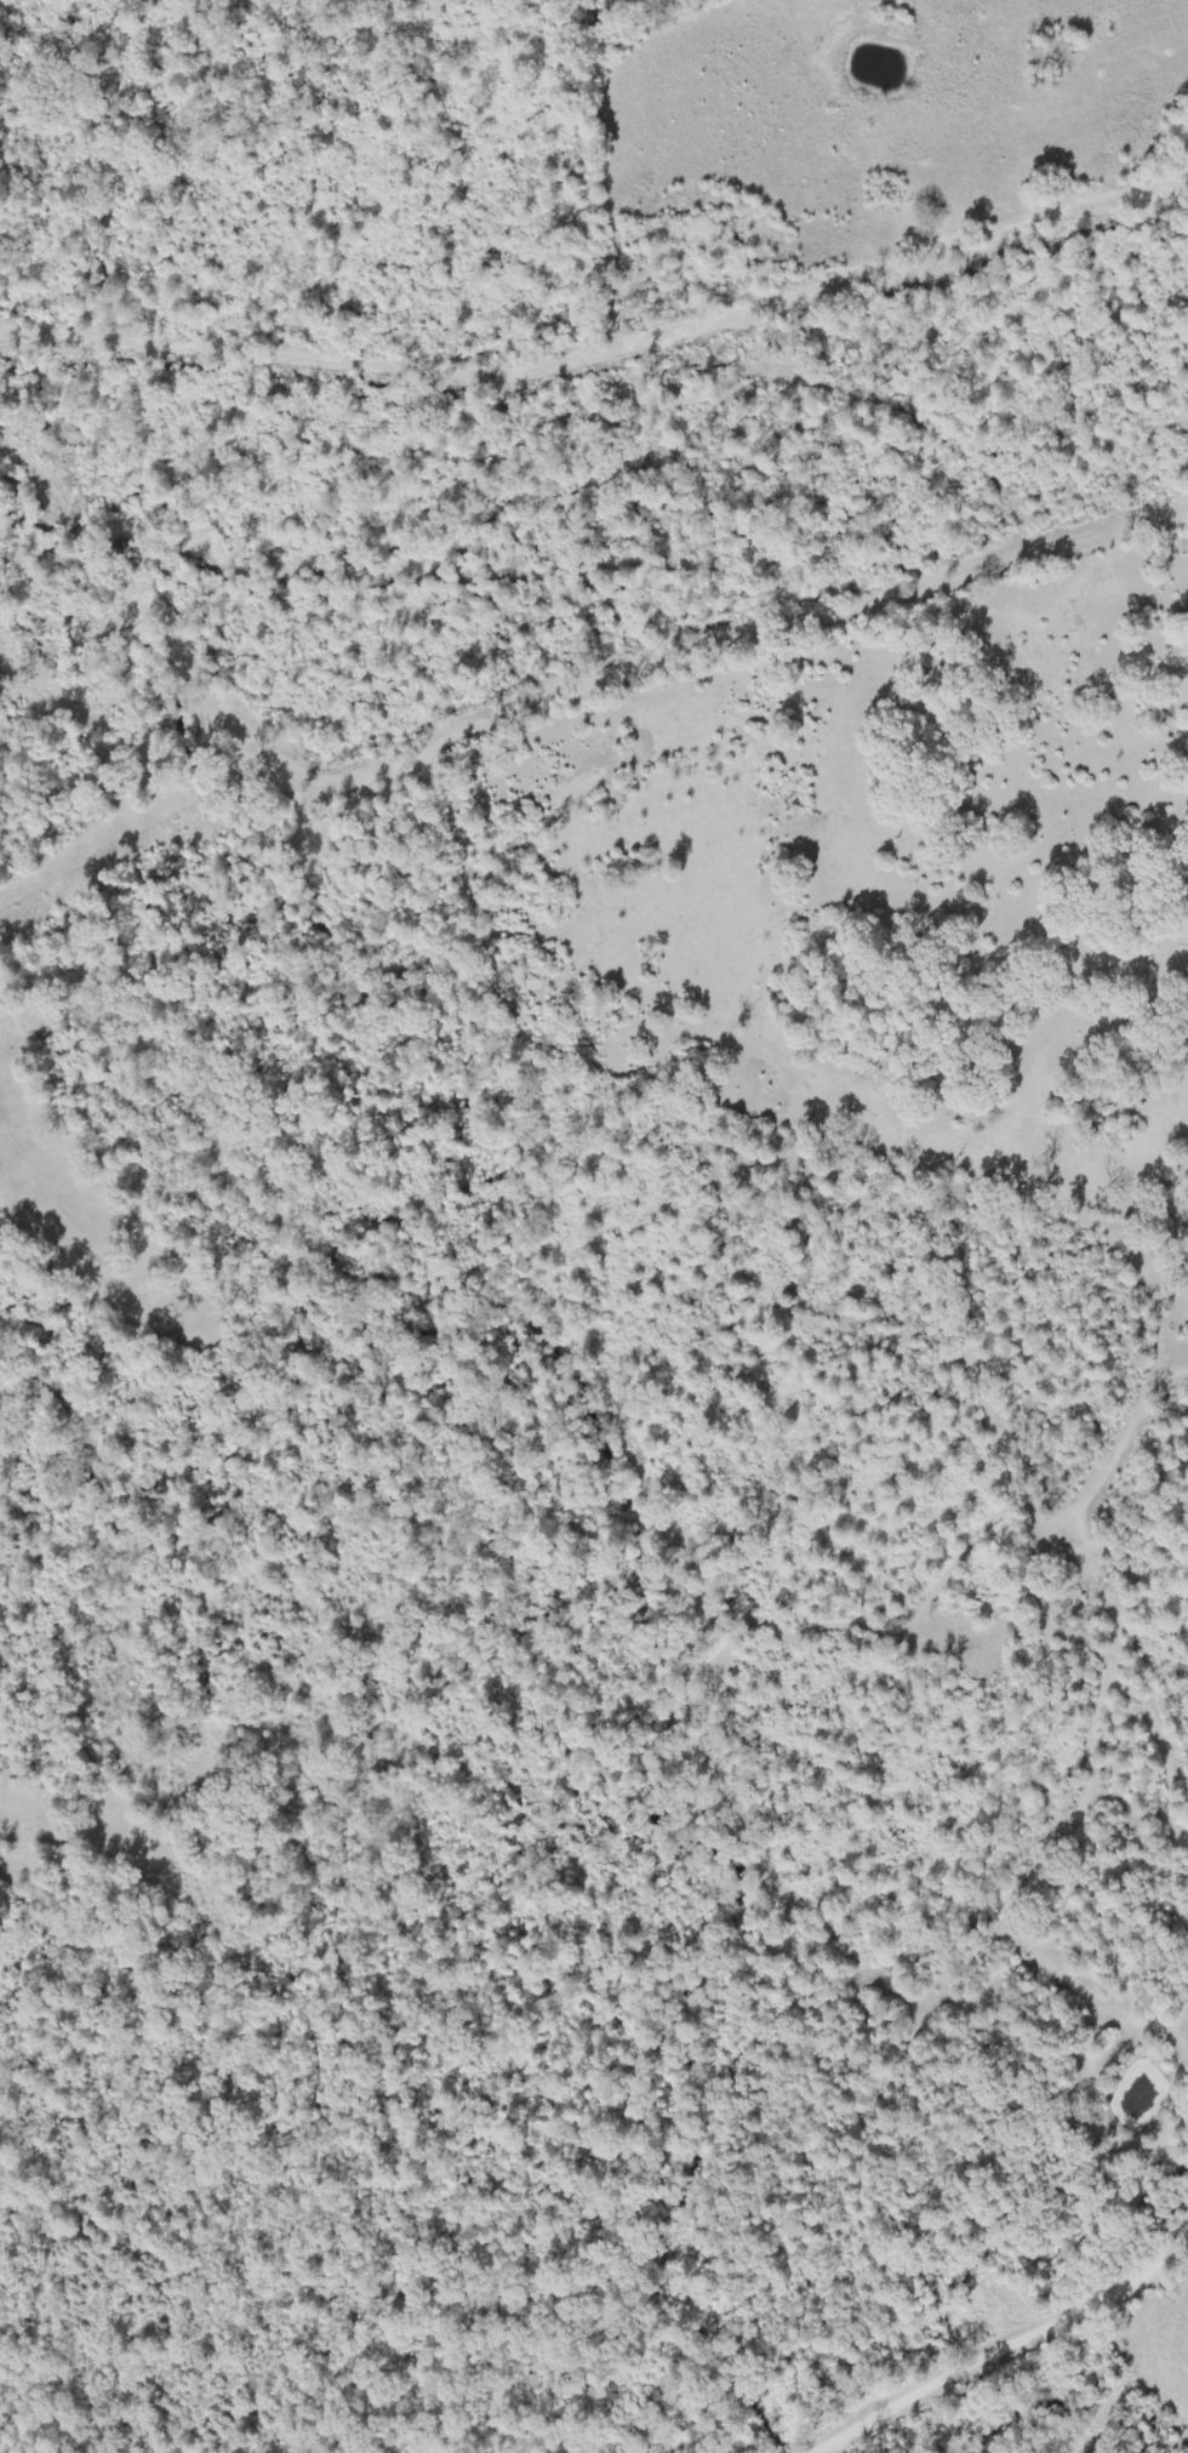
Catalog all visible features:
road: (1030, 2341)

